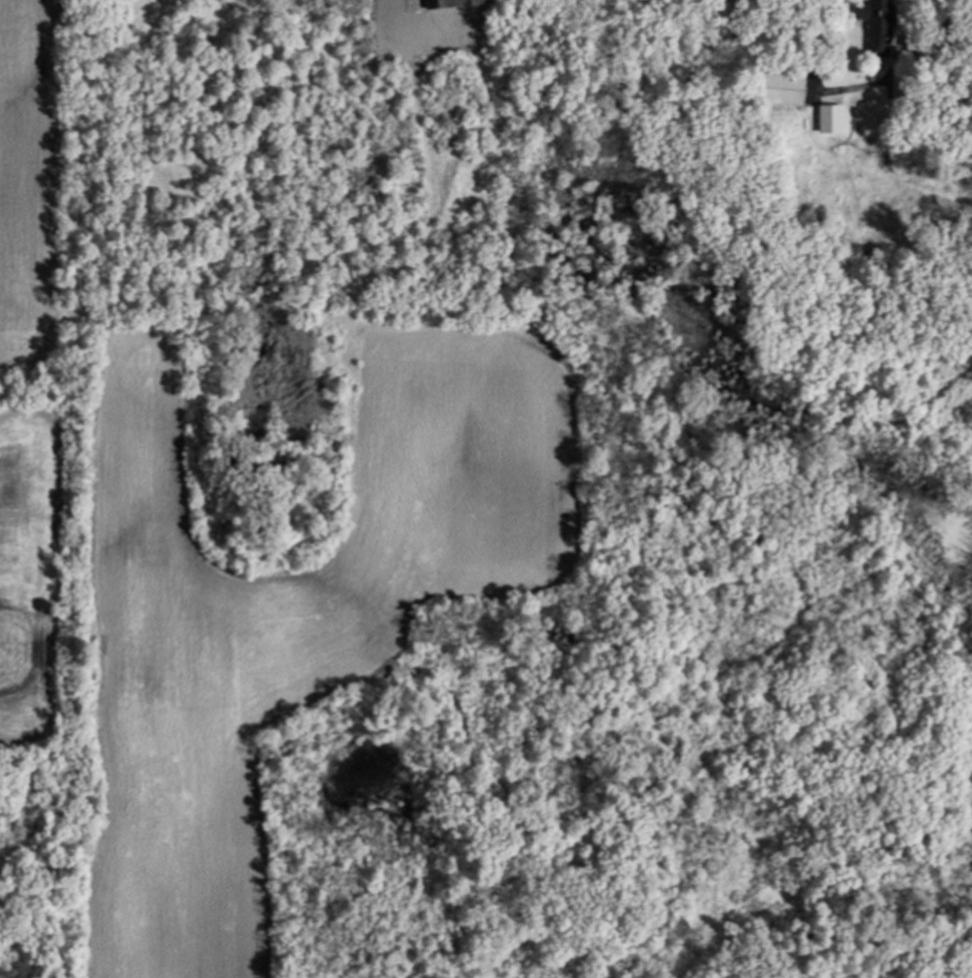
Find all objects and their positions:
road: (934, 5)
building: (877, 27)
building: (782, 91)
building: (830, 121)

